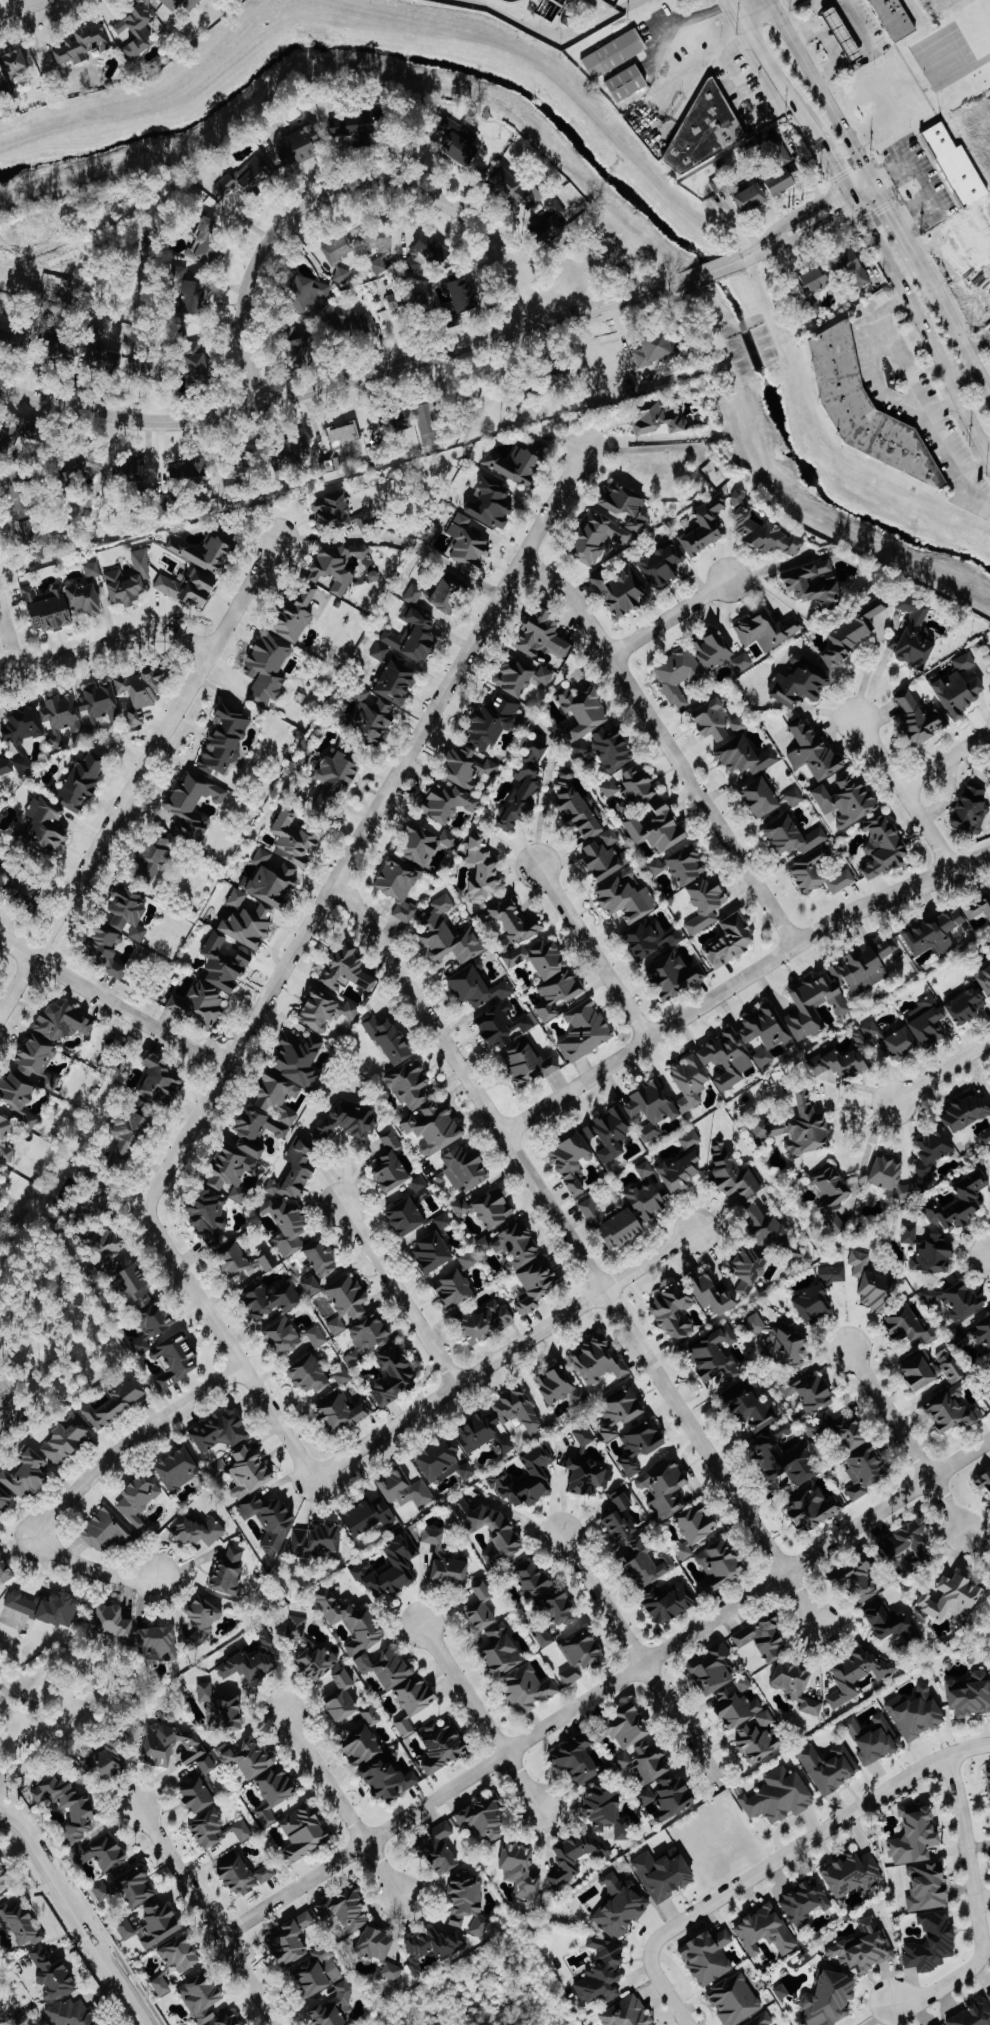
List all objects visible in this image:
road: (738, 6)
road: (755, 6)
road: (21, 9)
road: (691, 15)
road: (812, 15)
building: (896, 19)
building: (137, 31)
road: (555, 33)
building: (844, 35)
building: (83, 44)
road: (824, 45)
road: (870, 48)
building: (614, 54)
building: (16, 62)
road: (774, 71)
building: (628, 83)
road: (740, 88)
road: (824, 94)
building: (358, 126)
building: (706, 131)
building: (460, 144)
building: (302, 147)
road: (824, 161)
building: (958, 166)
building: (782, 167)
building: (254, 175)
traffic signals: (870, 175)
building: (226, 185)
building: (517, 188)
traffic signals: (879, 190)
road: (340, 191)
traffic signals: (841, 191)
building: (752, 198)
road: (845, 199)
road: (864, 199)
traffic signals: (850, 208)
road: (797, 217)
building: (549, 222)
road: (901, 230)
road: (791, 239)
building: (382, 241)
building: (206, 242)
building: (339, 249)
building: (427, 254)
building: (382, 265)
building: (854, 270)
building: (180, 275)
building: (341, 276)
building: (815, 281)
building: (462, 293)
building: (308, 294)
building: (195, 298)
building: (394, 301)
building: (420, 304)
building: (347, 326)
road: (923, 327)
road: (957, 329)
road: (978, 343)
building: (657, 349)
building: (301, 351)
road: (870, 354)
building: (198, 360)
building: (104, 362)
building: (612, 368)
building: (145, 369)
road: (368, 374)
road: (923, 401)
building: (866, 410)
building: (659, 421)
building: (398, 423)
building: (429, 423)
building: (343, 435)
building: (298, 450)
building: (91, 463)
building: (518, 464)
building: (329, 466)
building: (188, 470)
building: (738, 497)
building: (492, 503)
building: (626, 507)
building: (333, 513)
building: (364, 521)
building: (704, 528)
building: (768, 535)
building: (35, 539)
building: (598, 539)
building: (467, 544)
building: (207, 552)
building: (662, 565)
building: (338, 567)
building: (91, 570)
building: (131, 581)
building: (816, 584)
building: (191, 588)
building: (622, 591)
building: (449, 594)
building: (62, 606)
building: (299, 616)
road: (672, 616)
building: (768, 631)
building: (854, 635)
building: (914, 635)
building: (415, 636)
building: (544, 637)
road: (8, 641)
road: (105, 645)
building: (714, 650)
building: (741, 663)
building: (268, 669)
building: (394, 676)
building: (523, 676)
building: (678, 676)
building: (800, 683)
building: (961, 688)
building: (143, 692)
building: (102, 703)
building: (584, 711)
building: (372, 718)
building: (62, 719)
building: (921, 719)
building: (718, 721)
building: (492, 723)
building: (24, 727)
building: (225, 741)
road: (666, 743)
building: (1, 745)
building: (580, 748)
building: (614, 749)
building: (814, 751)
building: (745, 757)
road: (945, 760)
building: (22, 765)
building: (5, 767)
building: (468, 768)
road: (136, 779)
building: (335, 779)
building: (82, 781)
building: (524, 787)
building: (610, 789)
road: (905, 794)
building: (794, 797)
building: (761, 798)
building: (848, 802)
building: (449, 803)
building: (194, 806)
building: (971, 810)
building: (45, 829)
building: (659, 829)
building: (591, 831)
building: (793, 836)
building: (297, 839)
building: (425, 842)
building: (885, 849)
building: (156, 860)
building: (688, 865)
building: (658, 866)
building: (482, 868)
building: (820, 873)
building: (271, 880)
building: (400, 886)
building: (626, 896)
building: (237, 898)
building: (706, 903)
building: (127, 909)
building: (979, 909)
building: (249, 924)
building: (935, 933)
building: (448, 934)
building: (653, 939)
building: (525, 940)
building: (732, 940)
building: (107, 950)
road: (593, 952)
road: (283, 967)
building: (348, 971)
building: (675, 975)
building: (985, 979)
road: (739, 980)
building: (214, 982)
building: (839, 986)
building: (477, 987)
building: (559, 994)
road: (112, 1004)
building: (969, 1006)
building: (324, 1010)
building: (927, 1021)
building: (63, 1022)
building: (503, 1025)
building: (585, 1031)
building: (766, 1033)
building: (868, 1035)
building: (389, 1039)
building: (901, 1044)
building: (728, 1058)
building: (529, 1063)
building: (842, 1066)
road: (942, 1070)
building: (161, 1079)
building: (691, 1081)
building: (411, 1083)
building: (279, 1095)
building: (19, 1098)
building: (653, 1103)
building: (968, 1112)
building: (346, 1121)
building: (6, 1127)
building: (800, 1127)
building: (435, 1128)
building: (649, 1132)
building: (610, 1134)
building: (986, 1137)
building: (690, 1139)
road: (864, 1153)
building: (7, 1154)
building: (572, 1163)
building: (390, 1164)
building: (888, 1164)
building: (465, 1168)
building: (646, 1169)
building: (294, 1172)
building: (680, 1172)
building: (233, 1173)
building: (734, 1175)
building: (418, 1183)
building: (831, 1195)
building: (649, 1199)
building: (962, 1203)
building: (463, 1208)
building: (494, 1209)
building: (592, 1211)
building: (407, 1216)
building: (210, 1217)
building: (443, 1221)
building: (287, 1226)
building: (765, 1226)
building: (624, 1228)
building: (909, 1234)
building: (514, 1244)
building: (109, 1248)
road: (577, 1251)
building: (433, 1253)
building: (934, 1254)
building: (323, 1258)
building: (467, 1260)
building: (859, 1262)
building: (243, 1263)
building: (748, 1269)
building: (832, 1274)
building: (537, 1285)
building: (313, 1286)
building: (137, 1287)
building: (454, 1289)
building: (877, 1291)
building: (713, 1293)
road: (400, 1295)
building: (349, 1297)
building: (956, 1298)
building: (274, 1300)
building: (815, 1305)
building: (674, 1312)
building: (488, 1322)
building: (152, 1325)
building: (337, 1326)
building: (910, 1326)
building: (982, 1330)
building: (292, 1337)
building: (368, 1338)
building: (779, 1340)
road: (504, 1354)
building: (716, 1356)
building: (176, 1360)
building: (599, 1361)
building: (949, 1366)
building: (919, 1373)
building: (310, 1375)
building: (342, 1376)
building: (394, 1376)
building: (560, 1387)
building: (810, 1395)
building: (988, 1395)
building: (118, 1403)
building: (752, 1407)
building: (520, 1411)
building: (952, 1411)
building: (621, 1412)
building: (342, 1413)
building: (220, 1431)
building: (479, 1431)
building: (839, 1431)
road: (906, 1439)
building: (67, 1440)
building: (641, 1445)
building: (786, 1457)
building: (444, 1462)
building: (586, 1467)
building: (178, 1470)
building: (866, 1471)
building: (250, 1473)
building: (27, 1476)
building: (528, 1480)
building: (983, 1482)
road: (81, 1484)
building: (406, 1489)
building: (664, 1489)
building: (138, 1499)
building: (5, 1501)
building: (815, 1507)
building: (371, 1516)
building: (270, 1521)
building: (696, 1529)
building: (106, 1531)
building: (201, 1531)
building: (491, 1531)
building: (316, 1539)
building: (636, 1544)
building: (909, 1544)
building: (446, 1560)
building: (720, 1566)
building: (5, 1570)
building: (231, 1570)
building: (390, 1570)
building: (547, 1593)
building: (954, 1599)
building: (669, 1602)
building: (46, 1608)
building: (203, 1617)
building: (351, 1621)
building: (892, 1622)
building: (109, 1624)
building: (296, 1628)
building: (494, 1632)
building: (764, 1636)
building: (544, 1637)
building: (159, 1642)
building: (581, 1654)
road: (641, 1662)
building: (252, 1663)
building: (318, 1663)
building: (388, 1668)
building: (714, 1670)
building: (858, 1676)
building: (744, 1684)
building: (797, 1686)
building: (528, 1689)
road: (607, 1690)
building: (417, 1695)
building: (969, 1695)
building: (343, 1697)
building: (222, 1710)
road: (480, 1714)
building: (917, 1714)
building: (371, 1715)
building: (749, 1725)
building: (405, 1727)
building: (629, 1727)
road: (44, 1729)
building: (874, 1739)
building: (362, 1746)
building: (443, 1746)
building: (171, 1747)
building: (248, 1757)
building: (577, 1760)
building: (207, 1764)
building: (831, 1767)
building: (989, 1768)
building: (388, 1780)
building: (279, 1789)
building: (200, 1795)
building: (670, 1797)
building: (780, 1797)
road: (341, 1805)
building: (69, 1807)
building: (607, 1811)
building: (267, 1815)
building: (485, 1819)
building: (218, 1829)
building: (304, 1833)
building: (438, 1848)
building: (100, 1854)
building: (577, 1857)
road: (778, 1858)
building: (921, 1859)
building: (520, 1870)
building: (266, 1873)
building: (664, 1875)
building: (853, 1875)
building: (239, 1877)
building: (4, 1878)
building: (137, 1887)
building: (101, 1891)
building: (806, 1901)
building: (468, 1903)
road: (978, 1906)
building: (620, 1907)
building: (347, 1910)
road: (207, 1915)
road: (73, 1917)
building: (21, 1923)
building: (766, 1932)
building: (291, 1940)
building: (933, 1942)
building: (375, 1945)
building: (431, 1947)
building: (864, 1947)
building: (181, 1954)
building: (709, 1957)
building: (391, 1971)
building: (319, 1972)
building: (602, 1972)
building: (52, 1976)
building: (162, 1986)
building: (782, 1992)
building: (989, 1992)
building: (202, 1997)
building: (829, 1999)
building: (735, 2000)
building: (334, 2008)
building: (627, 2013)
building: (73, 2014)
building: (973, 2015)
building: (228, 2020)
building: (762, 2020)
building: (943, 2024)

